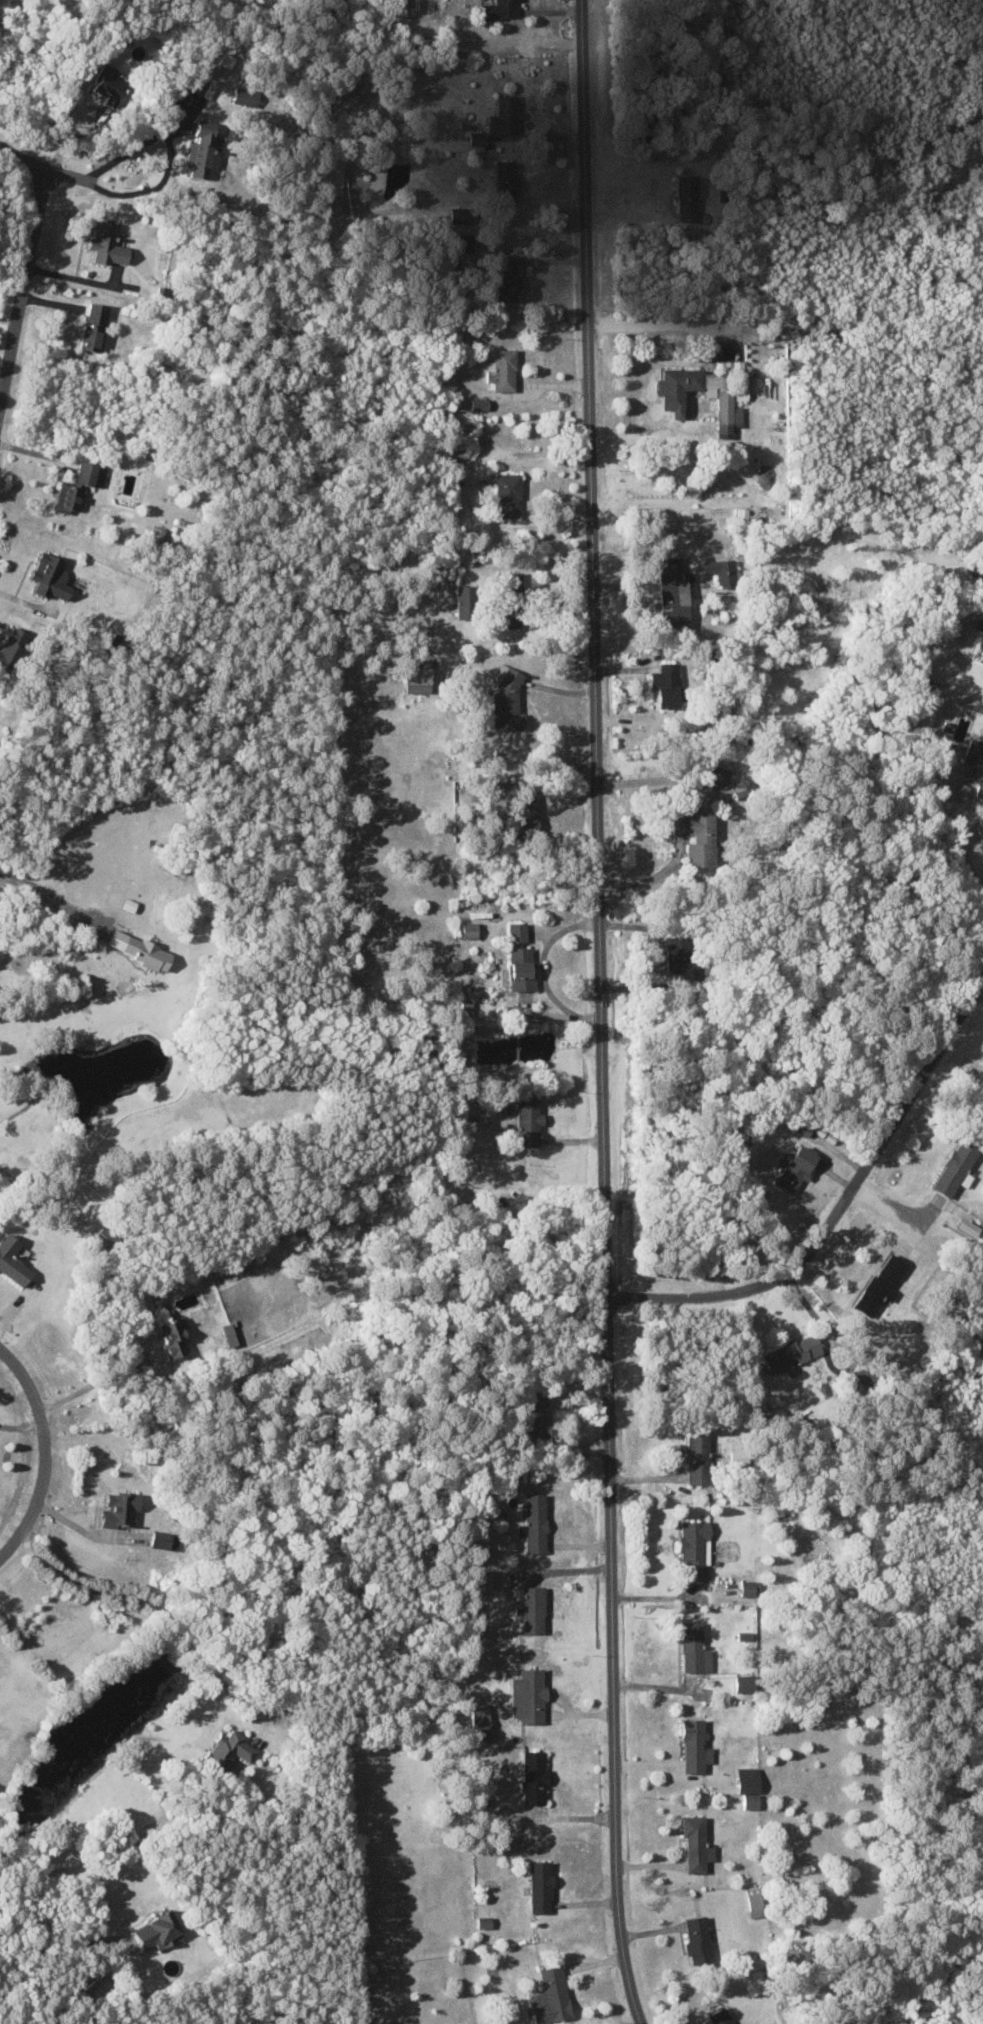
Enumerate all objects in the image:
building: (499, 9)
building: (199, 80)
building: (108, 82)
building: (506, 115)
building: (478, 137)
building: (202, 148)
road: (43, 170)
building: (335, 175)
building: (507, 179)
building: (462, 213)
building: (108, 242)
building: (507, 276)
road: (22, 296)
building: (94, 336)
building: (504, 369)
building: (708, 391)
building: (481, 403)
building: (461, 454)
building: (78, 486)
building: (509, 494)
building: (723, 571)
building: (51, 576)
building: (675, 593)
building: (465, 601)
building: (510, 617)
building: (12, 646)
building: (419, 676)
building: (668, 684)
building: (507, 699)
building: (975, 757)
building: (720, 774)
building: (963, 790)
building: (527, 813)
building: (697, 837)
road: (35, 890)
building: (468, 929)
building: (140, 949)
building: (521, 958)
building: (679, 958)
road: (602, 1013)
building: (529, 1121)
building: (798, 1168)
building: (958, 1168)
road: (843, 1188)
road: (890, 1209)
building: (13, 1261)
building: (882, 1284)
building: (175, 1338)
building: (793, 1353)
road: (94, 1384)
road: (43, 1447)
building: (698, 1457)
building: (121, 1510)
building: (535, 1523)
building: (161, 1540)
building: (695, 1547)
building: (483, 1579)
building: (748, 1588)
road: (157, 1607)
building: (533, 1610)
building: (745, 1635)
building: (695, 1647)
building: (746, 1682)
building: (529, 1694)
building: (482, 1721)
building: (696, 1745)
building: (231, 1748)
building: (535, 1776)
building: (749, 1779)
building: (752, 1800)
building: (697, 1843)
building: (541, 1885)
building: (756, 1901)
building: (485, 1921)
building: (159, 1930)
building: (699, 1938)
road: (46, 1946)
building: (98, 1988)
building: (554, 1995)
building: (722, 2016)

